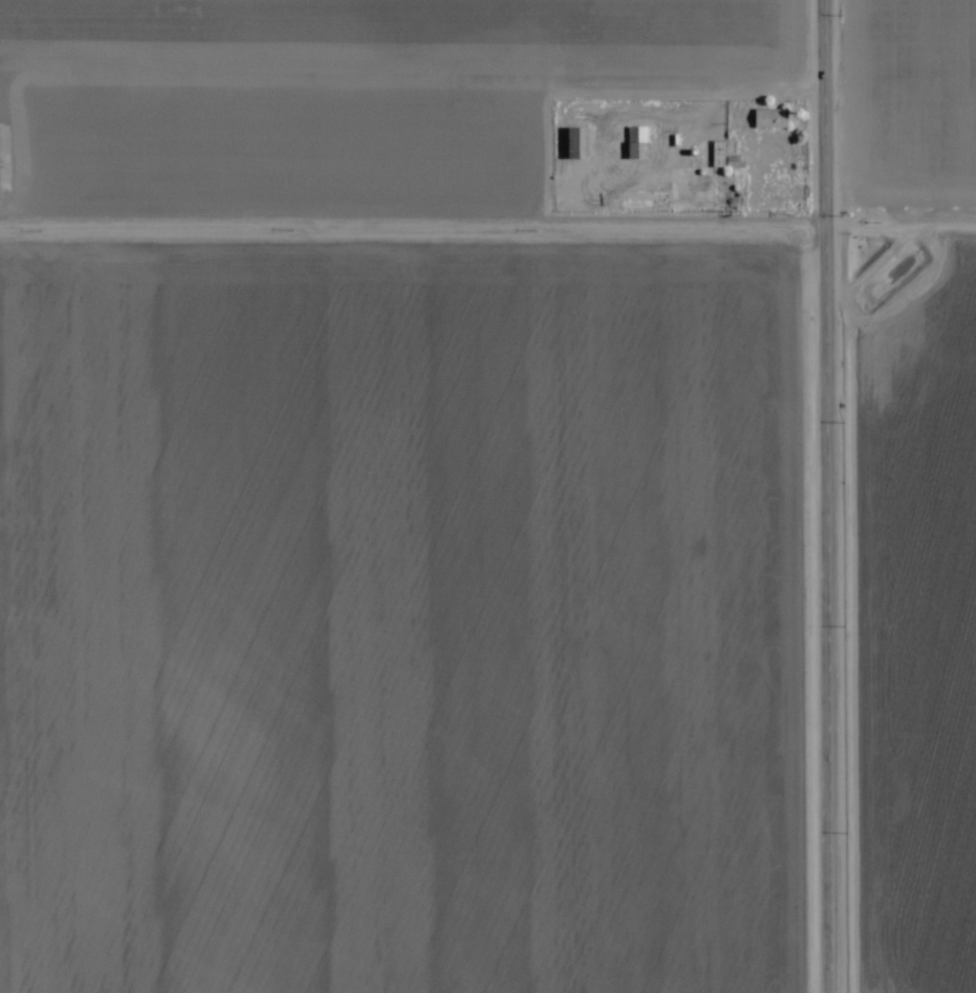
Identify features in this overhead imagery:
building: (770, 118)
road: (414, 202)
crop: (488, 496)
road: (829, 496)

